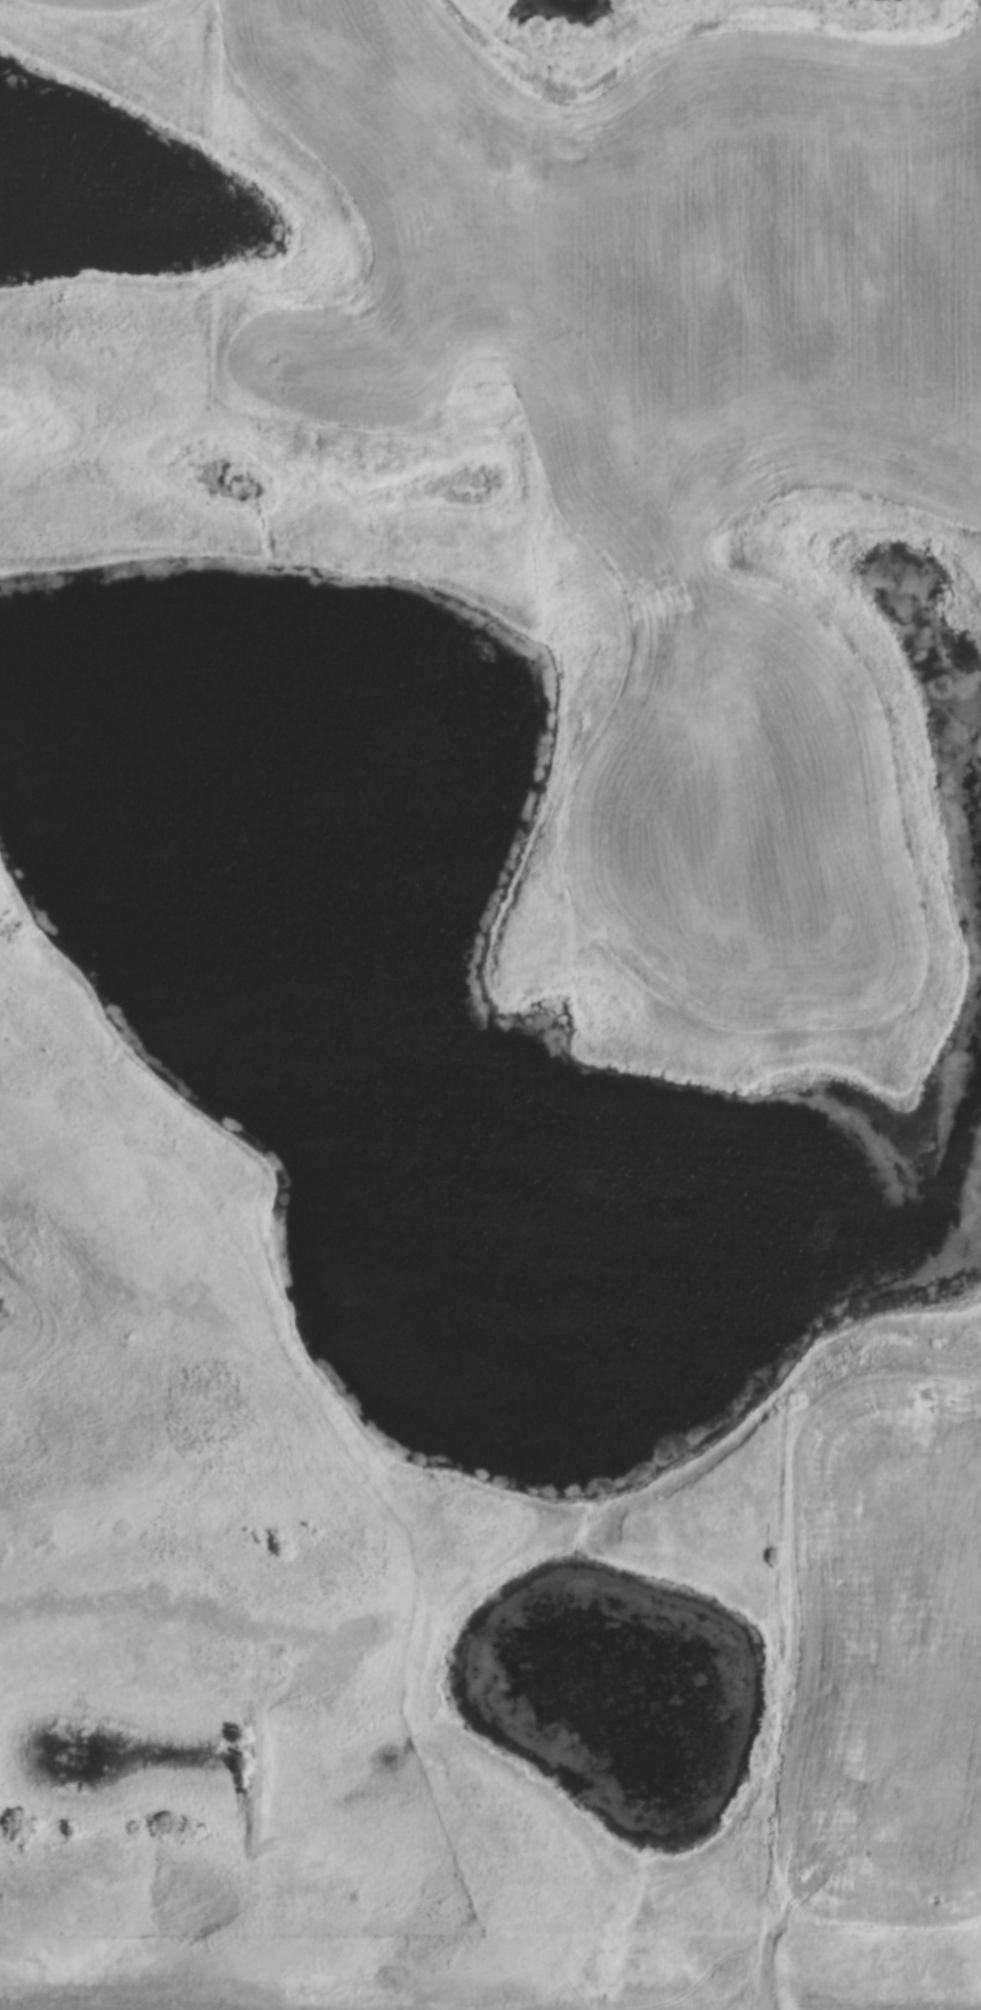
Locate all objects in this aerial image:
road: (770, 1957)

